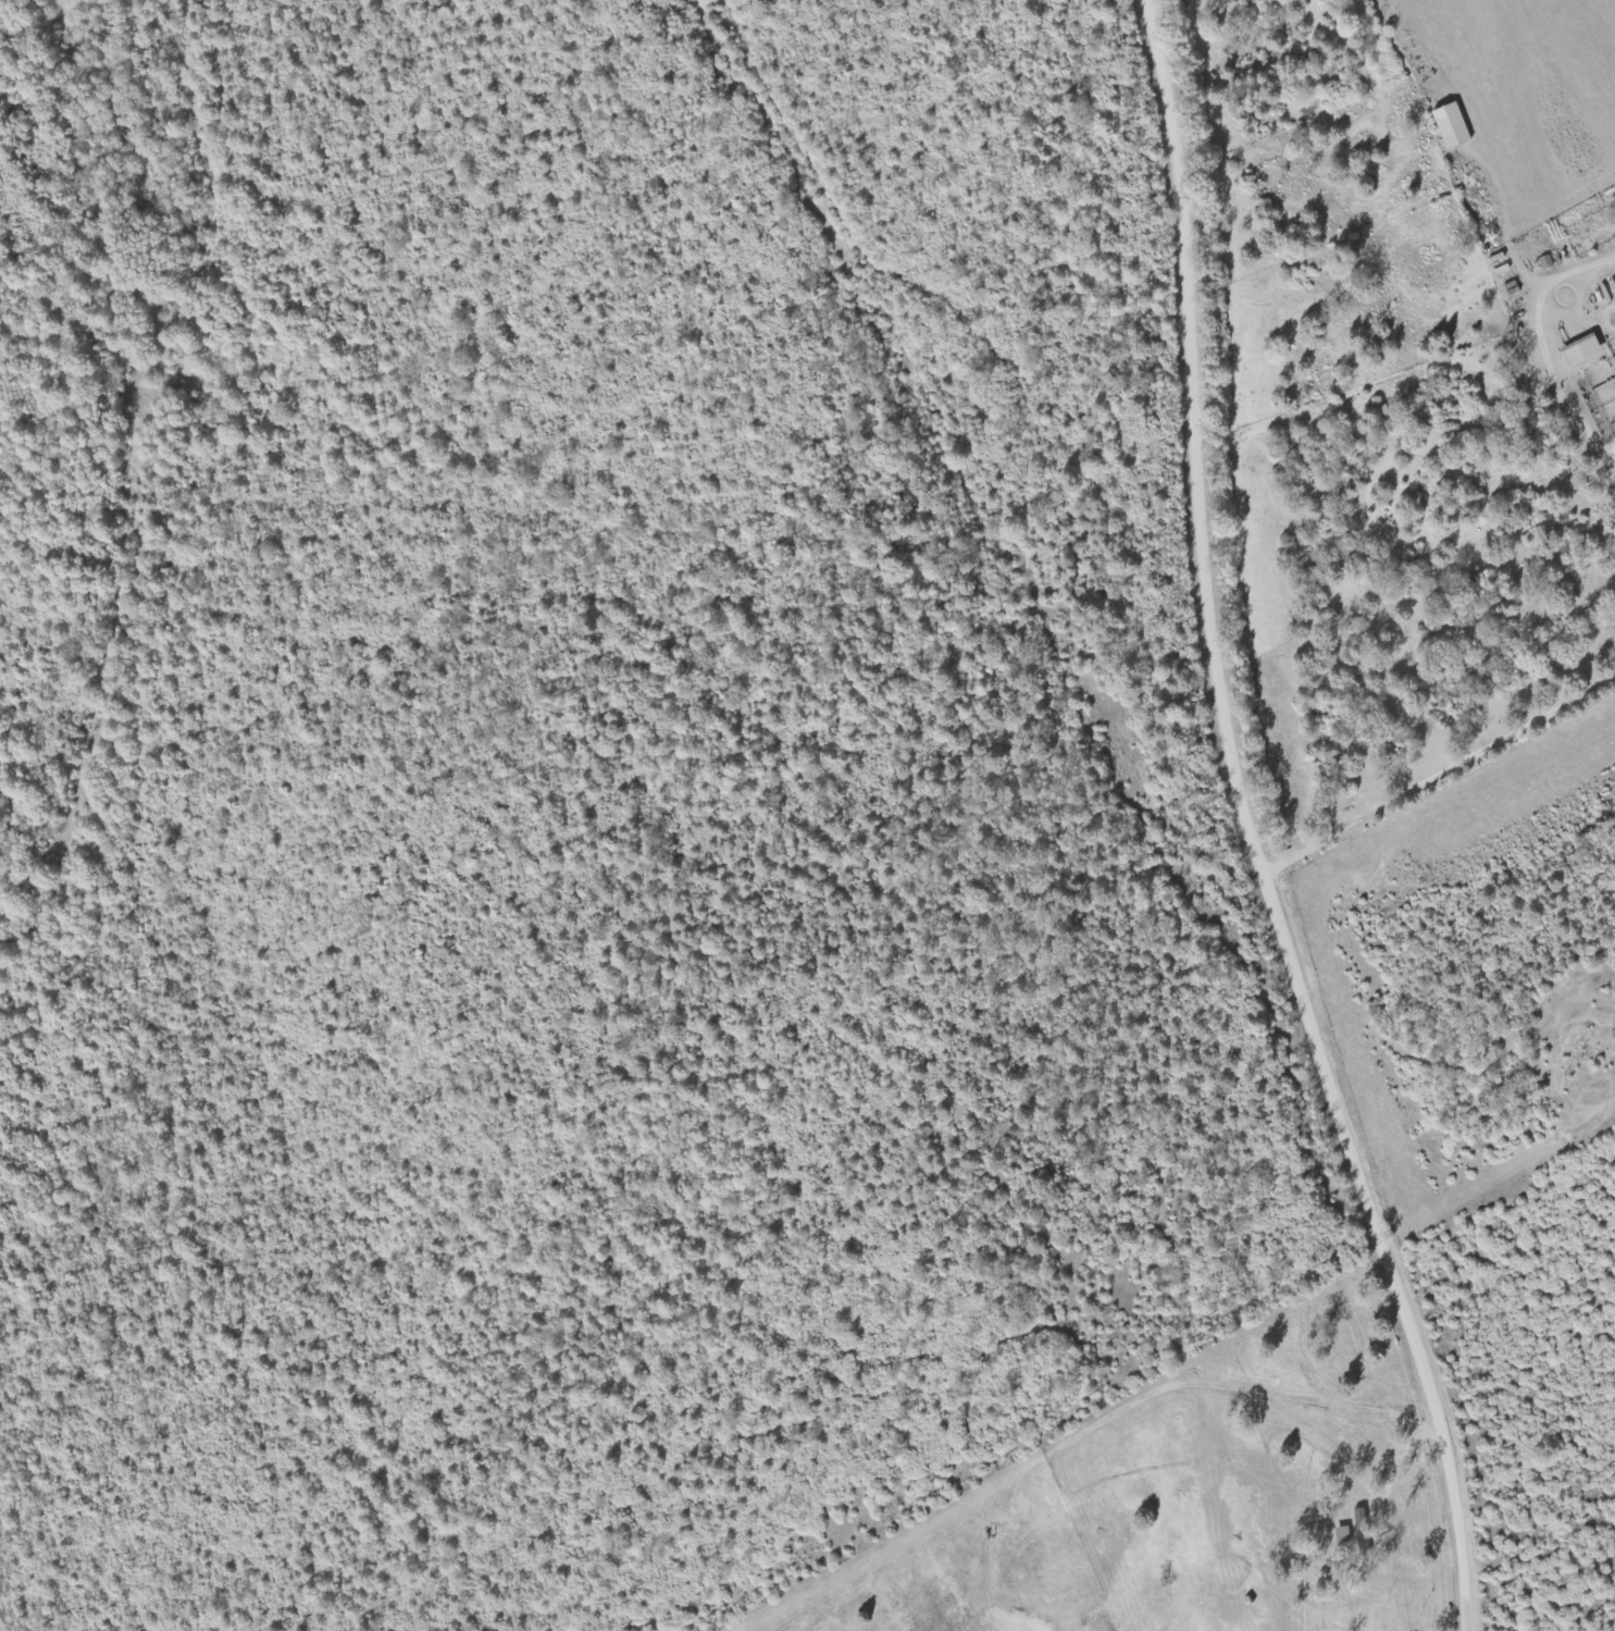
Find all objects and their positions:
building: (1455, 126)
building: (1585, 351)
road: (1237, 832)
building: (1363, 1519)
building: (1345, 1537)

